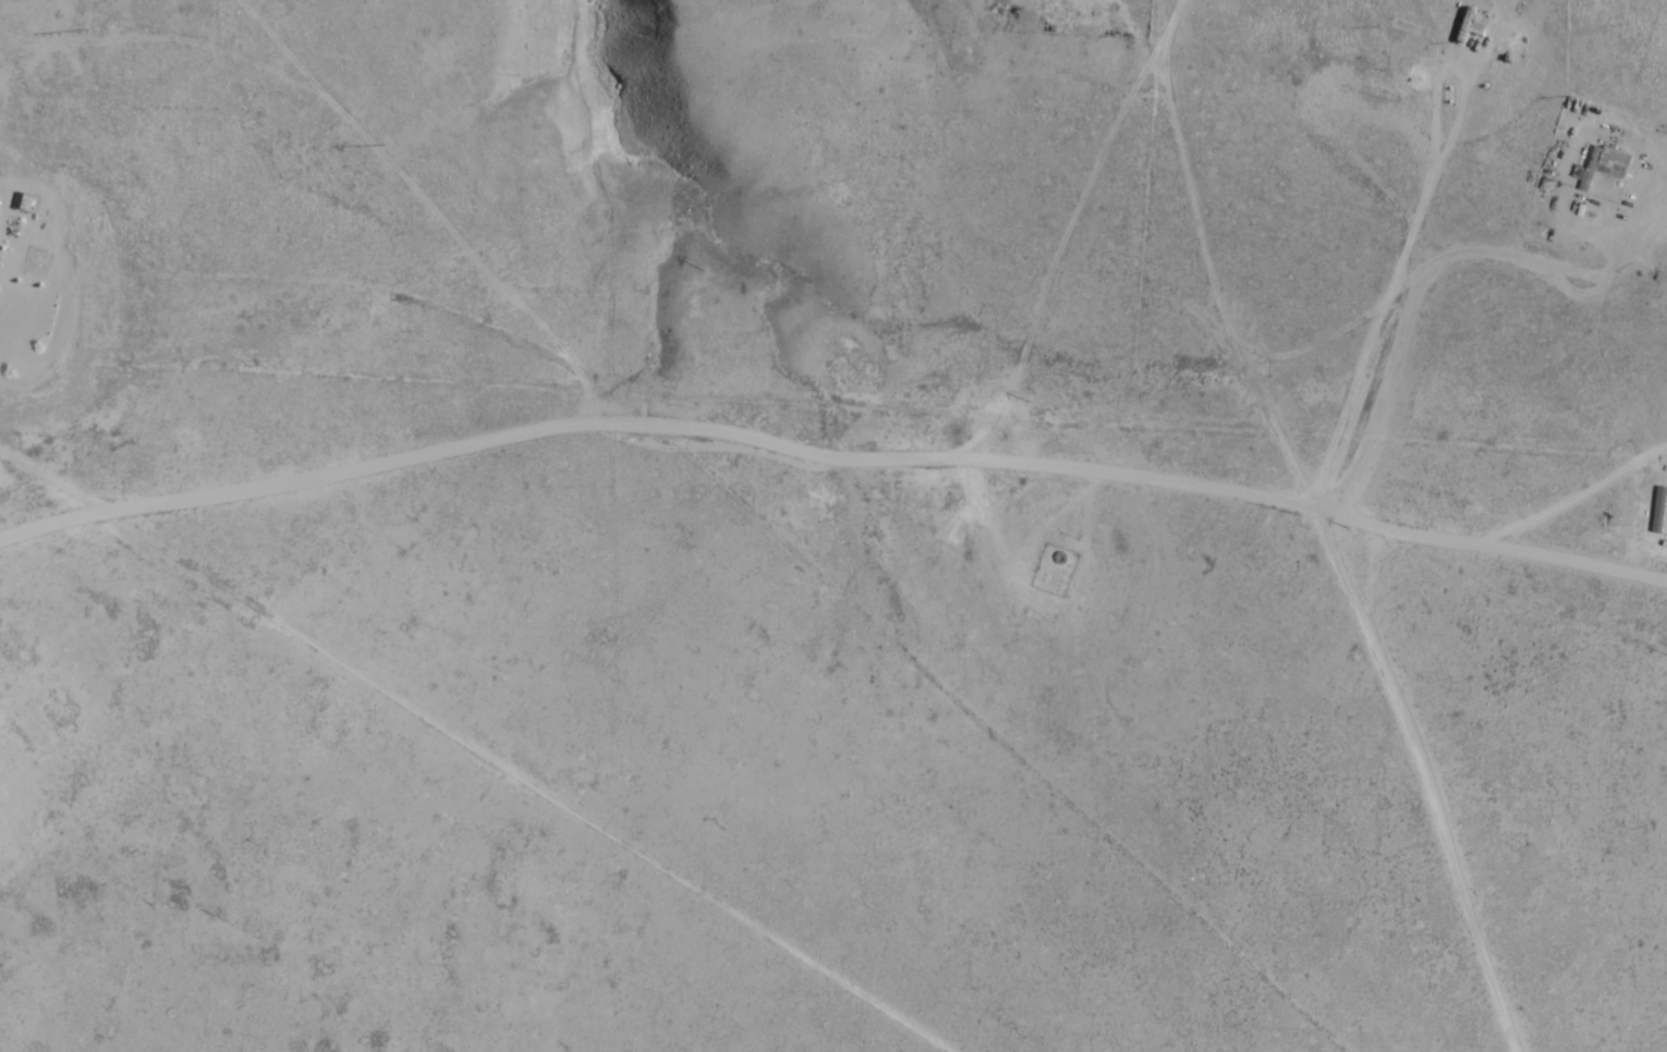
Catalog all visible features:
building: (1470, 23)
building: (1603, 164)
road: (1135, 281)
road: (1440, 347)
road: (816, 494)
road: (1274, 617)
road: (390, 695)

